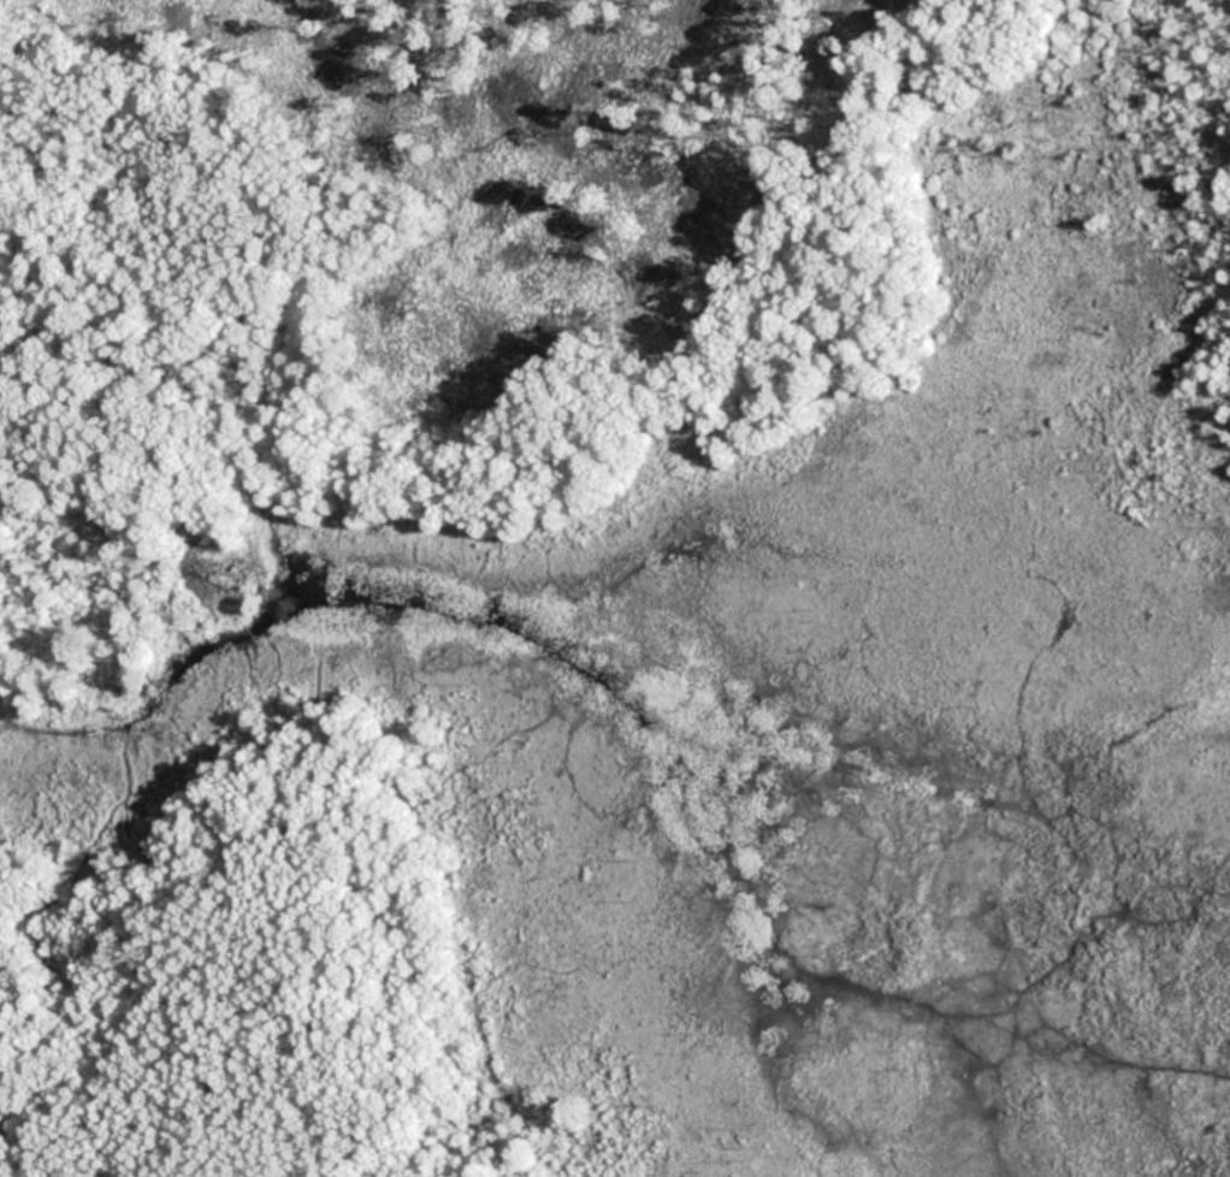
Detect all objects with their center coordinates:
park: (615, 588)

